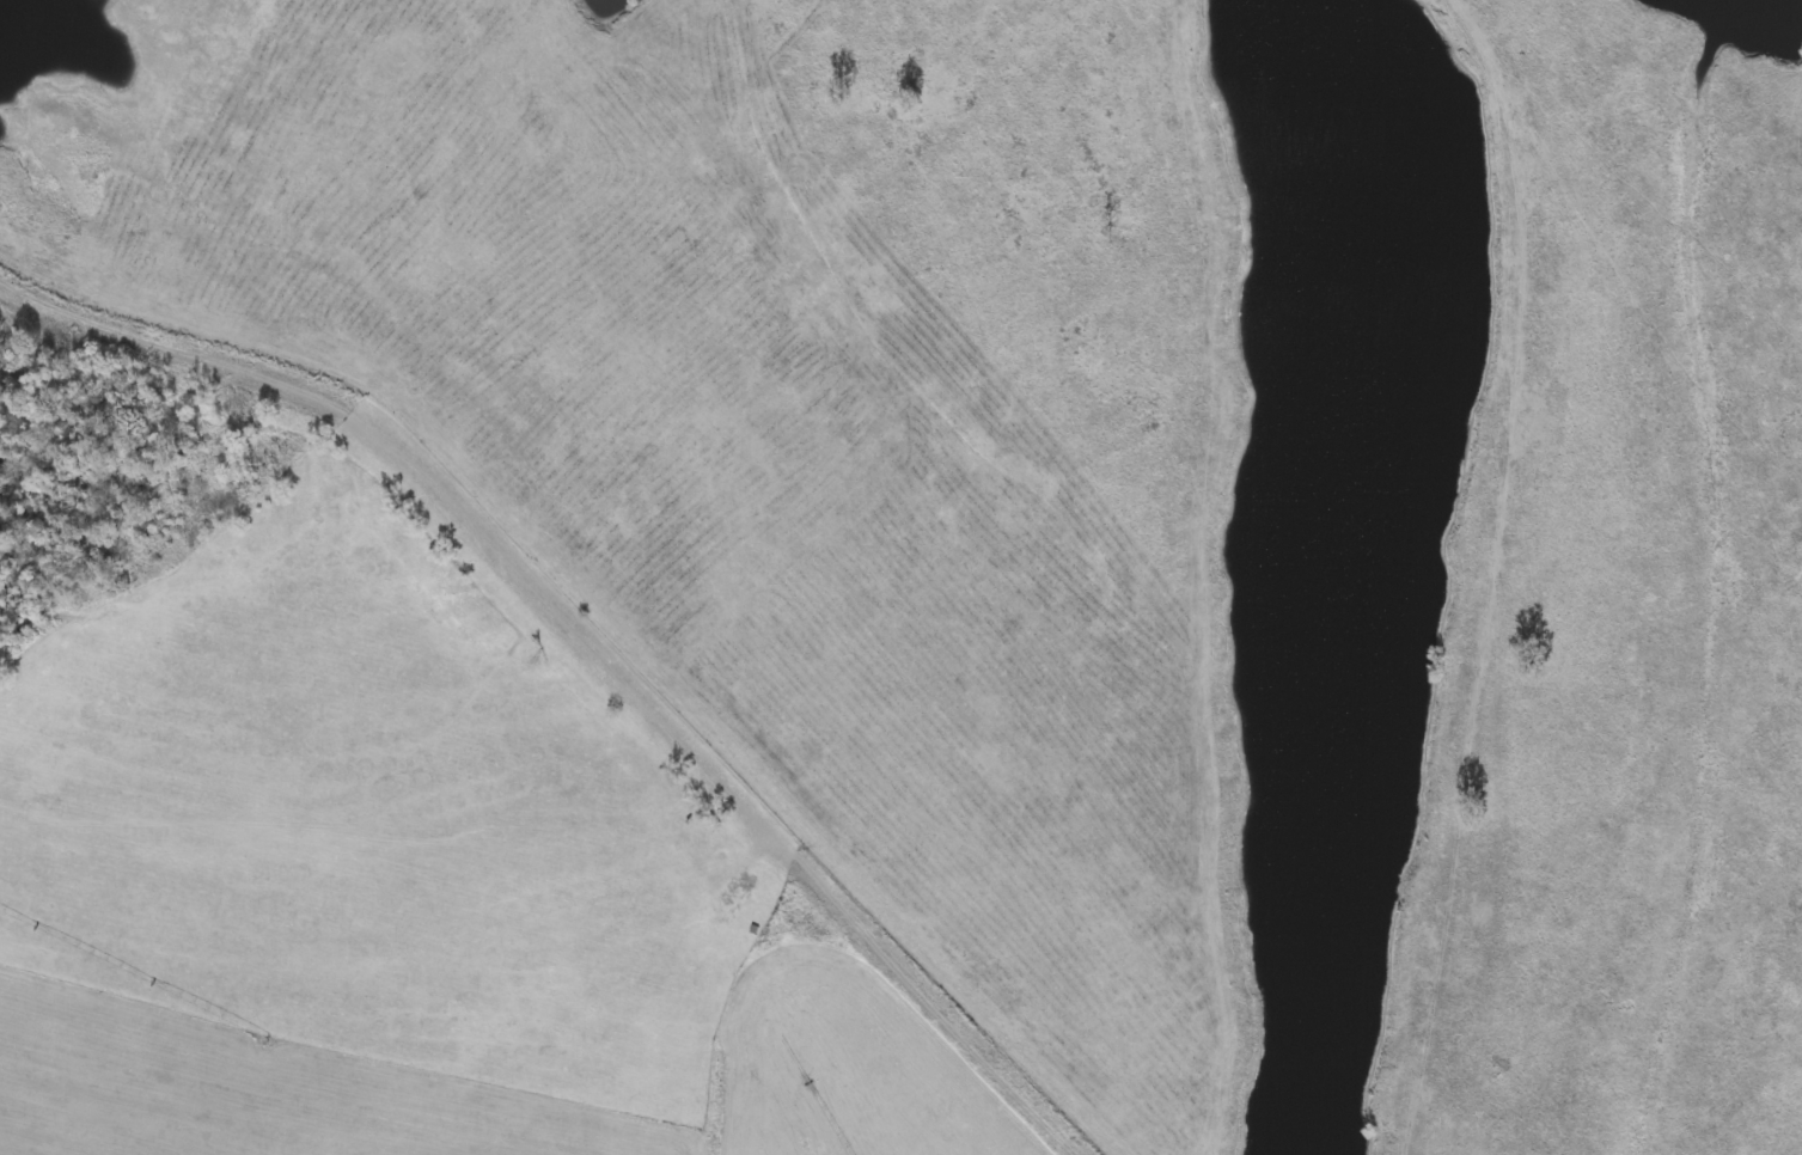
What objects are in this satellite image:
road: (574, 658)

